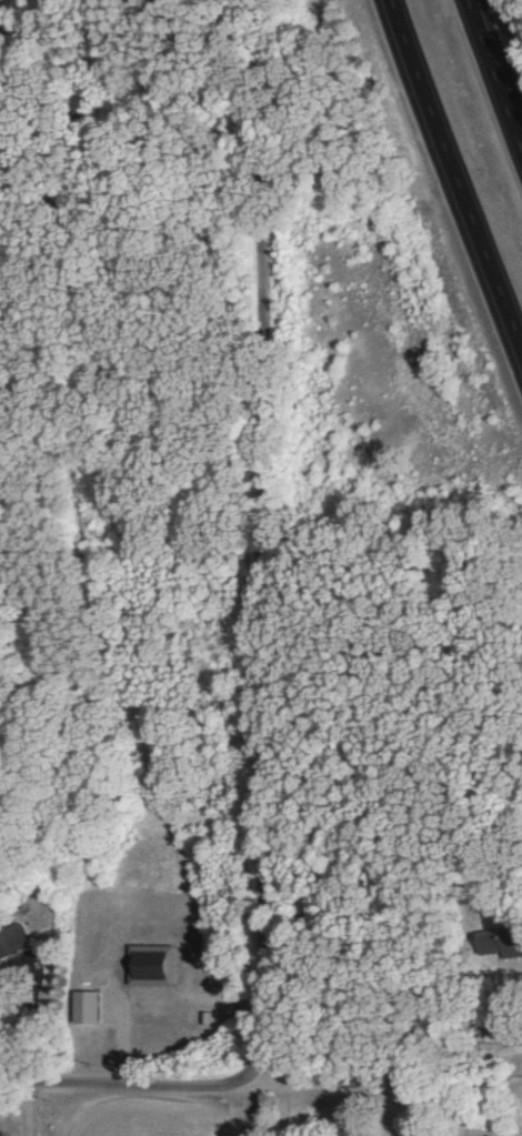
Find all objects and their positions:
road: (188, 36)
road: (492, 78)
road: (453, 181)
road: (259, 543)
building: (500, 946)
building: (87, 1007)
road: (34, 1023)
road: (473, 1049)
road: (253, 1086)

